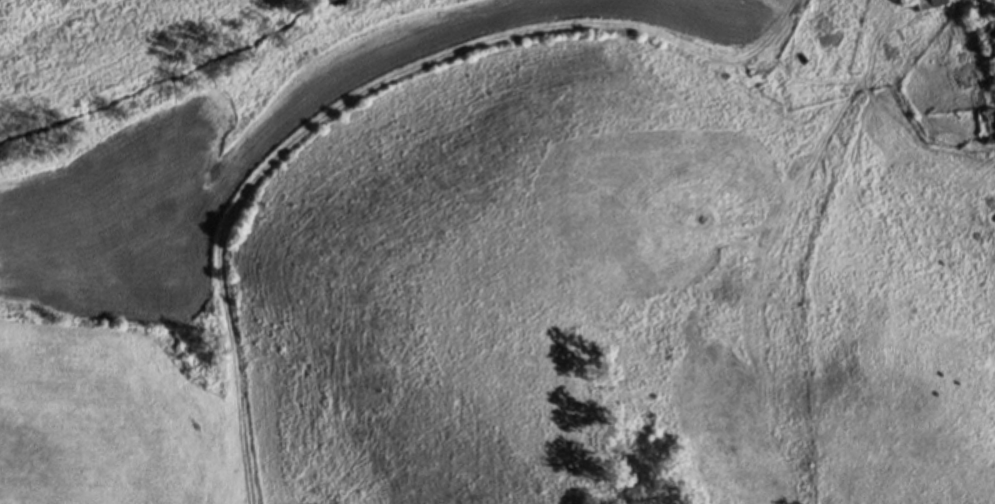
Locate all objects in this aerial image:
building: (927, 4)
building: (970, 7)
building: (989, 42)
building: (987, 126)

